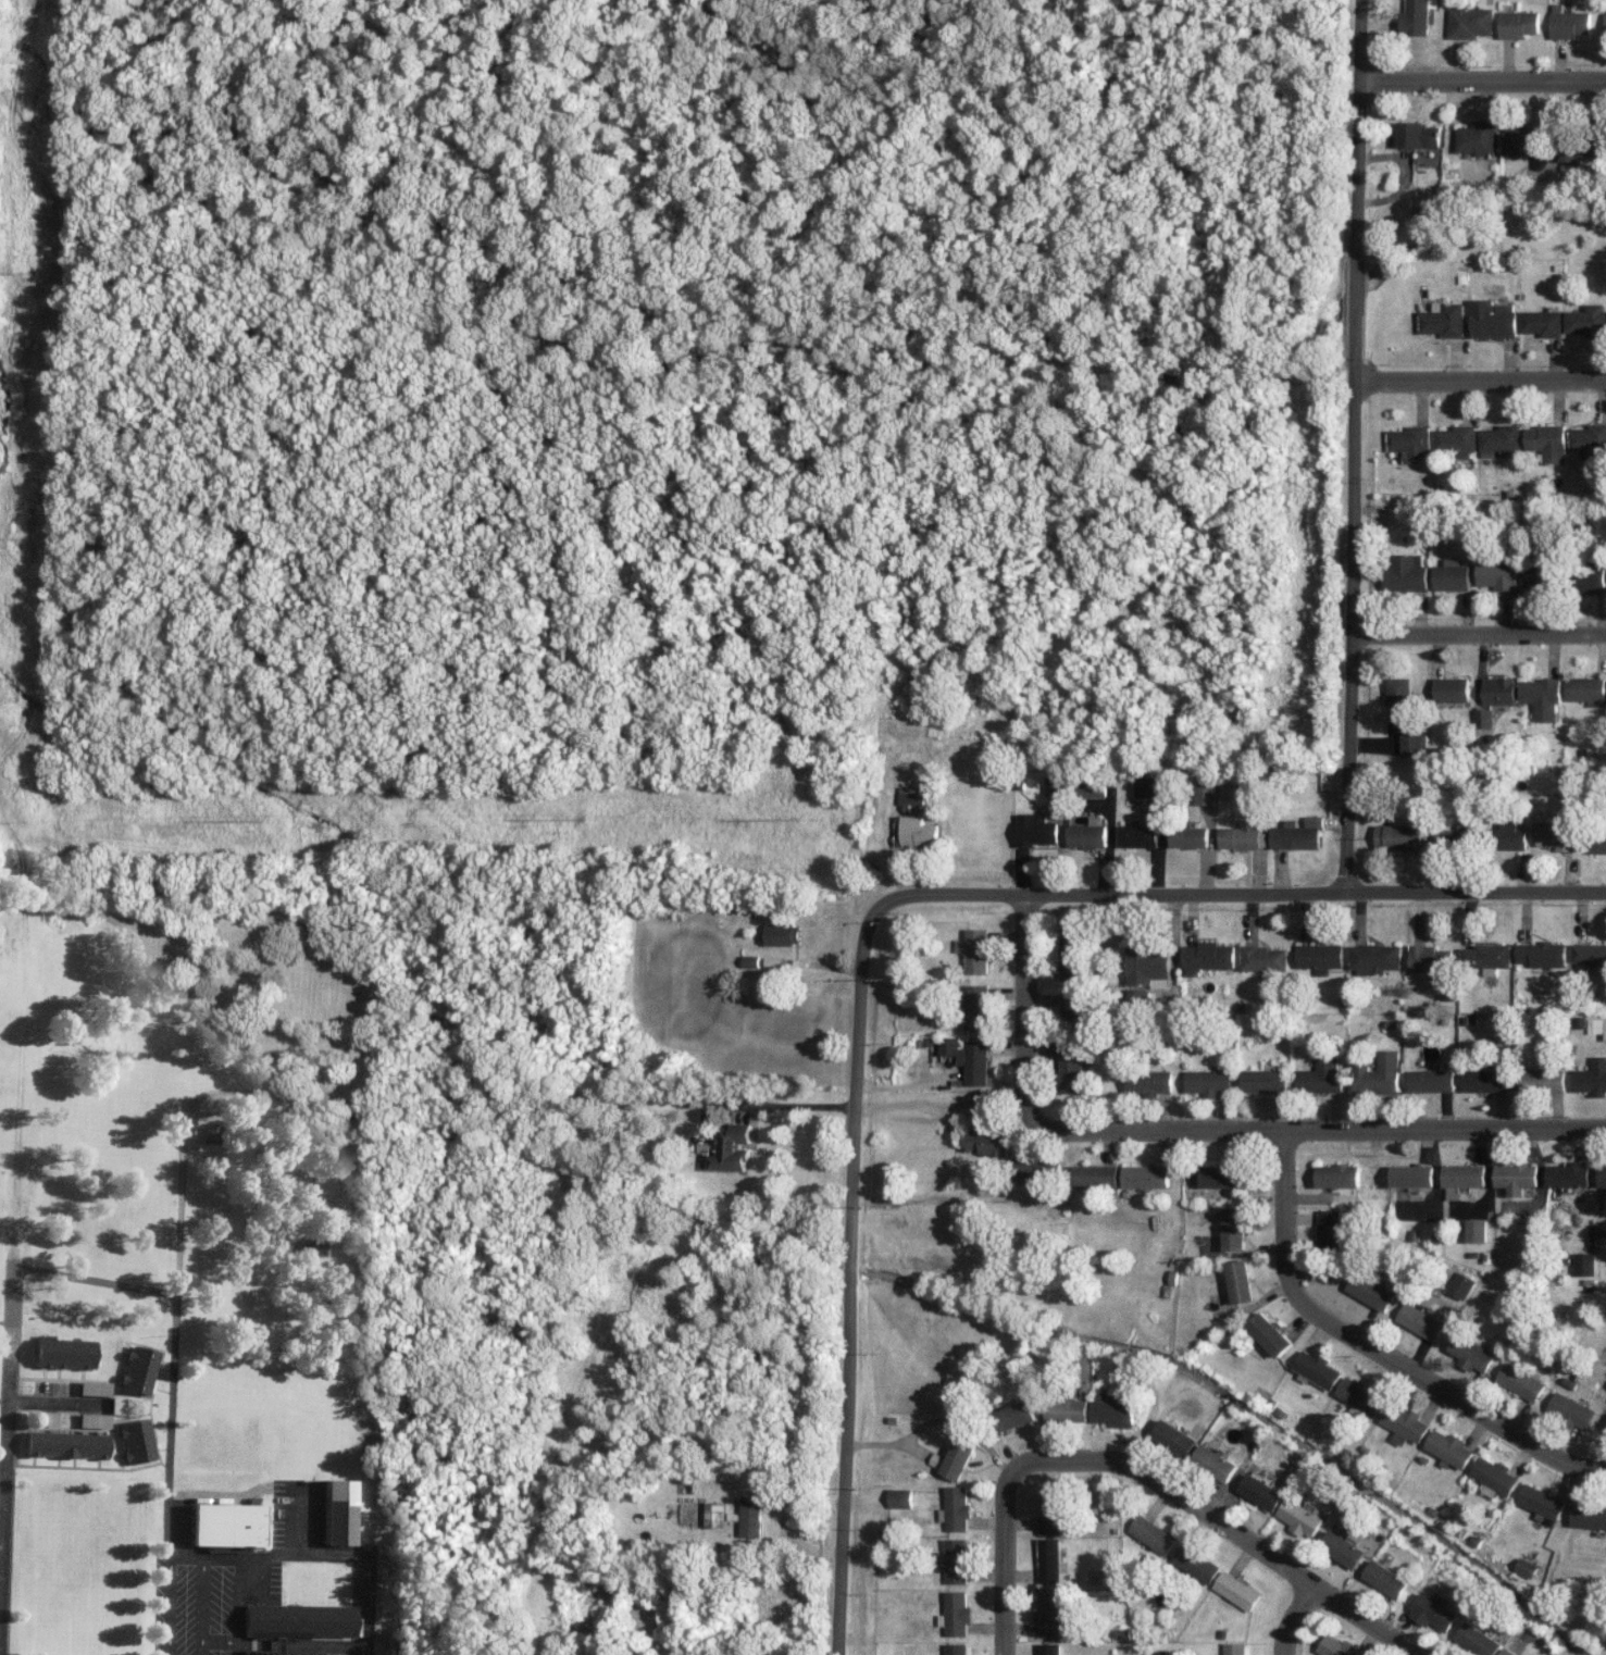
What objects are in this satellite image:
building: (1605, 12)
building: (1415, 17)
building: (1470, 22)
building: (1569, 23)
building: (1518, 24)
road: (1483, 80)
building: (1419, 135)
building: (1477, 138)
building: (1526, 139)
building: (1583, 149)
building: (1492, 319)
building: (1443, 320)
building: (1586, 321)
building: (1541, 323)
road: (1480, 379)
building: (1588, 438)
building: (1455, 440)
building: (1501, 440)
building: (1546, 441)
building: (1408, 444)
road: (1352, 445)
building: (1404, 573)
building: (1496, 574)
building: (1536, 574)
building: (1451, 575)
building: (1588, 580)
road: (1477, 634)
building: (1449, 689)
building: (1585, 689)
building: (1497, 690)
building: (1540, 697)
building: (1396, 698)
building: (1481, 718)
building: (1411, 744)
building: (1148, 786)
building: (1091, 788)
building: (1204, 789)
building: (911, 798)
building: (1035, 830)
building: (914, 832)
building: (1557, 833)
building: (1087, 834)
building: (1297, 835)
building: (1455, 835)
building: (1138, 836)
building: (1397, 836)
building: (1509, 836)
building: (1188, 837)
building: (1242, 837)
building: (1596, 841)
road: (1474, 892)
road: (1106, 893)
building: (783, 934)
building: (975, 950)
building: (1543, 954)
building: (1591, 954)
building: (1207, 956)
building: (1072, 957)
building: (1320, 957)
building: (1487, 957)
building: (1265, 958)
building: (1374, 958)
building: (1431, 958)
building: (1148, 966)
building: (1137, 997)
building: (978, 1007)
road: (1025, 1008)
building: (1071, 1008)
building: (1597, 1025)
building: (969, 1058)
building: (1378, 1073)
building: (1072, 1075)
building: (1322, 1075)
building: (1543, 1078)
building: (1593, 1078)
building: (1432, 1080)
building: (1487, 1080)
building: (1265, 1081)
building: (1149, 1082)
building: (1210, 1082)
road: (781, 1103)
road: (1319, 1128)
building: (306, 1138)
building: (984, 1143)
building: (732, 1148)
building: (1039, 1171)
building: (1570, 1174)
building: (1097, 1175)
building: (1147, 1175)
building: (1220, 1175)
building: (1412, 1175)
building: (1603, 1175)
building: (1337, 1177)
building: (1517, 1177)
building: (1462, 1179)
road: (1285, 1209)
building: (1327, 1228)
building: (1232, 1229)
building: (1476, 1230)
building: (1585, 1264)
building: (1237, 1281)
road: (852, 1283)
building: (1458, 1284)
building: (1369, 1290)
building: (1418, 1322)
building: (1268, 1334)
building: (62, 1353)
building: (1469, 1353)
building: (136, 1369)
building: (1315, 1369)
building: (1519, 1381)
building: (92, 1388)
road: (1443, 1391)
road: (25, 1392)
building: (1358, 1397)
building: (1115, 1408)
building: (1068, 1409)
building: (1570, 1410)
building: (1014, 1416)
building: (91, 1420)
building: (1403, 1423)
building: (1177, 1438)
building: (134, 1441)
building: (64, 1444)
building: (1447, 1448)
building: (958, 1457)
building: (1217, 1463)
building: (1492, 1477)
building: (1262, 1492)
building: (900, 1497)
building: (1540, 1504)
building: (957, 1508)
building: (1053, 1510)
building: (335, 1511)
building: (717, 1515)
road: (783, 1515)
building: (752, 1516)
building: (1588, 1517)
building: (1302, 1518)
road: (1227, 1525)
building: (223, 1526)
building: (1155, 1534)
building: (1346, 1547)
road: (285, 1555)
building: (957, 1560)
road: (1006, 1560)
building: (1051, 1560)
building: (1198, 1564)
building: (1526, 1568)
building: (1389, 1579)
building: (1240, 1591)
building: (1437, 1610)
building: (957, 1613)
building: (1051, 1613)
road: (1295, 1617)
building: (290, 1622)
building: (1479, 1640)
road: (336, 1644)
building: (1339, 1646)
building: (957, 1648)
building: (1051, 1648)
building: (1236, 1648)
road: (313, 1651)
building: (1508, 1652)

